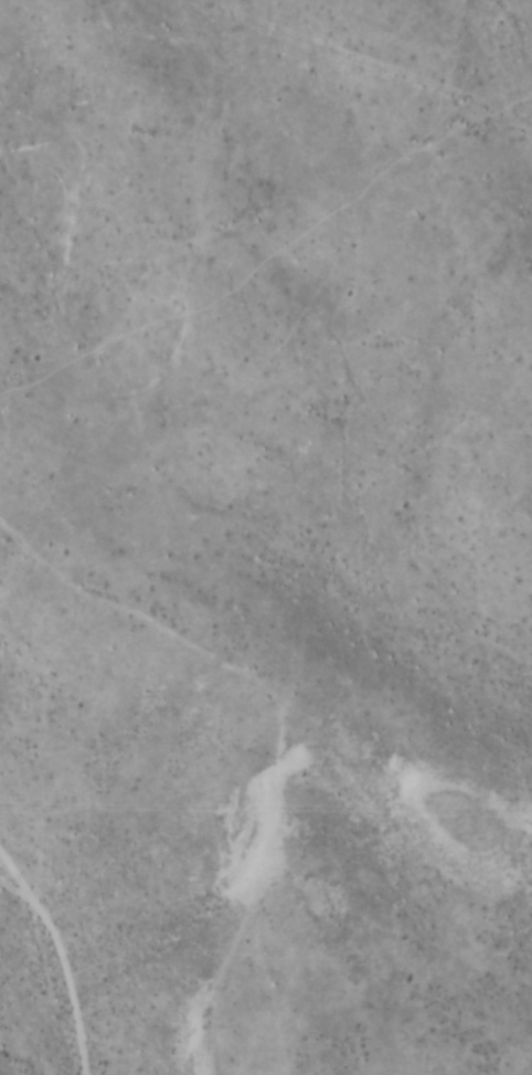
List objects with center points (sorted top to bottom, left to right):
crop: (266, 537)
road: (62, 953)

